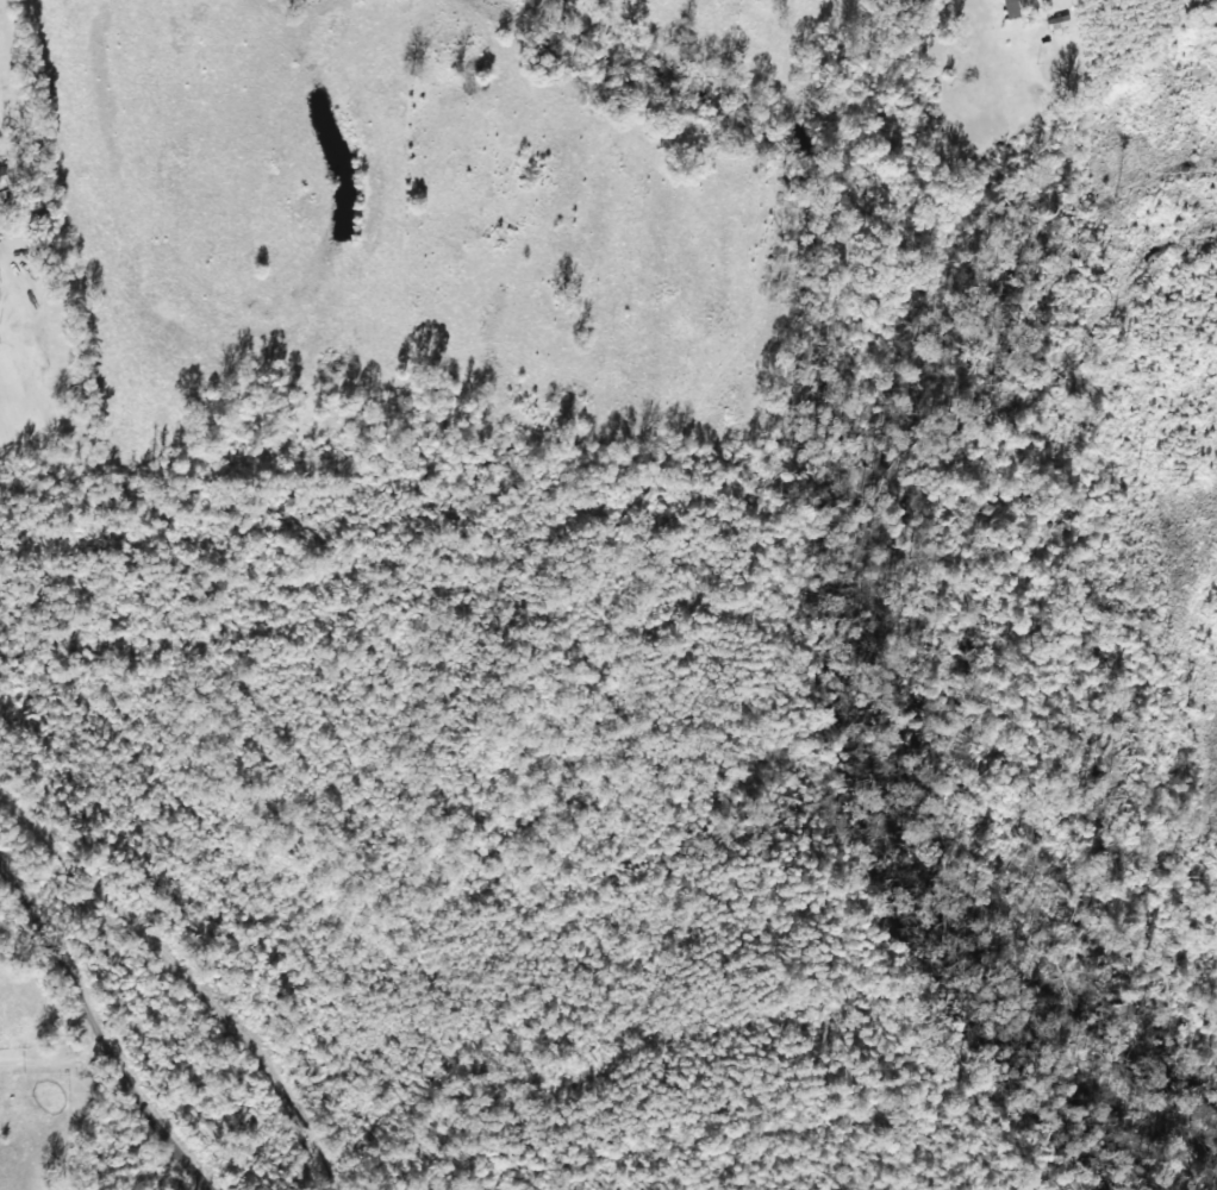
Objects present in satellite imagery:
building: (1011, 10)
building: (1059, 23)
building: (5, 177)
road: (98, 1048)

